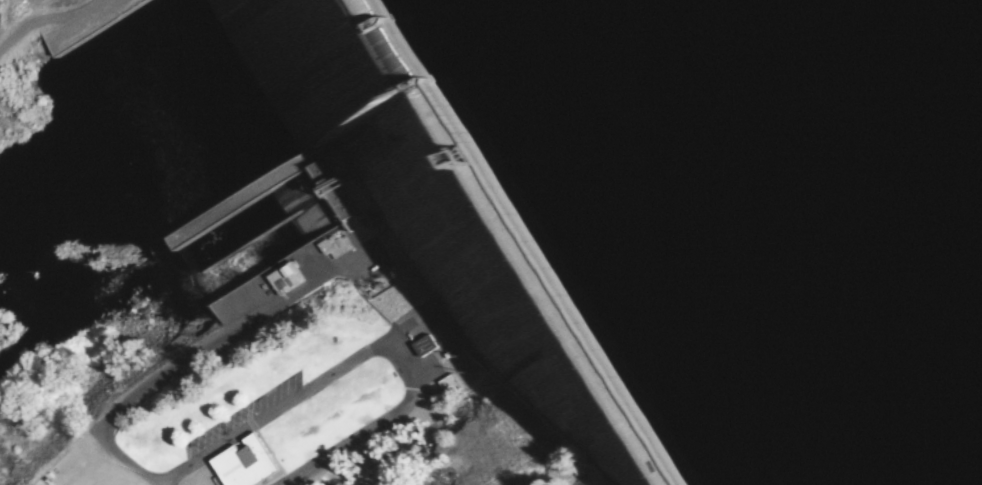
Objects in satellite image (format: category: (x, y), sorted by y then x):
river: (135, 158)
park: (757, 214)
dam: (391, 217)
building: (287, 279)
road: (365, 354)
building: (247, 465)

